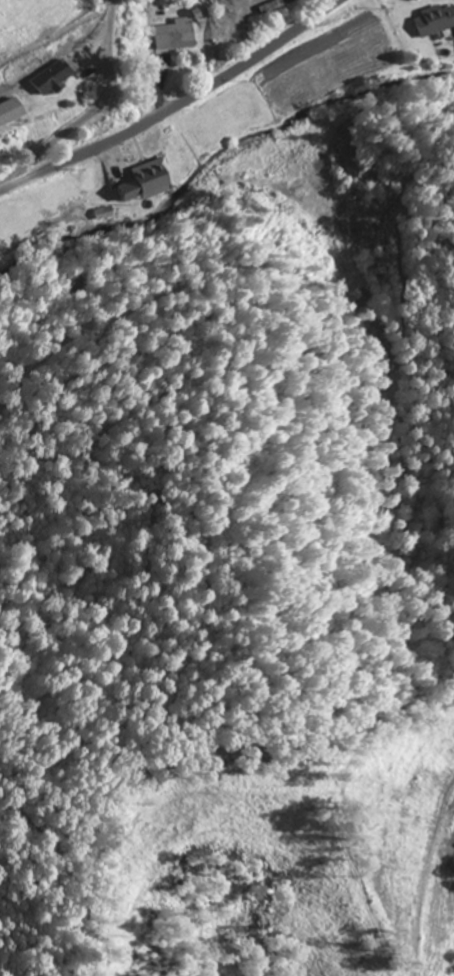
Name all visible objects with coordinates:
building: (434, 21)
building: (175, 35)
building: (49, 78)
road: (178, 107)
building: (8, 111)
road: (88, 112)
building: (145, 182)
building: (105, 214)

